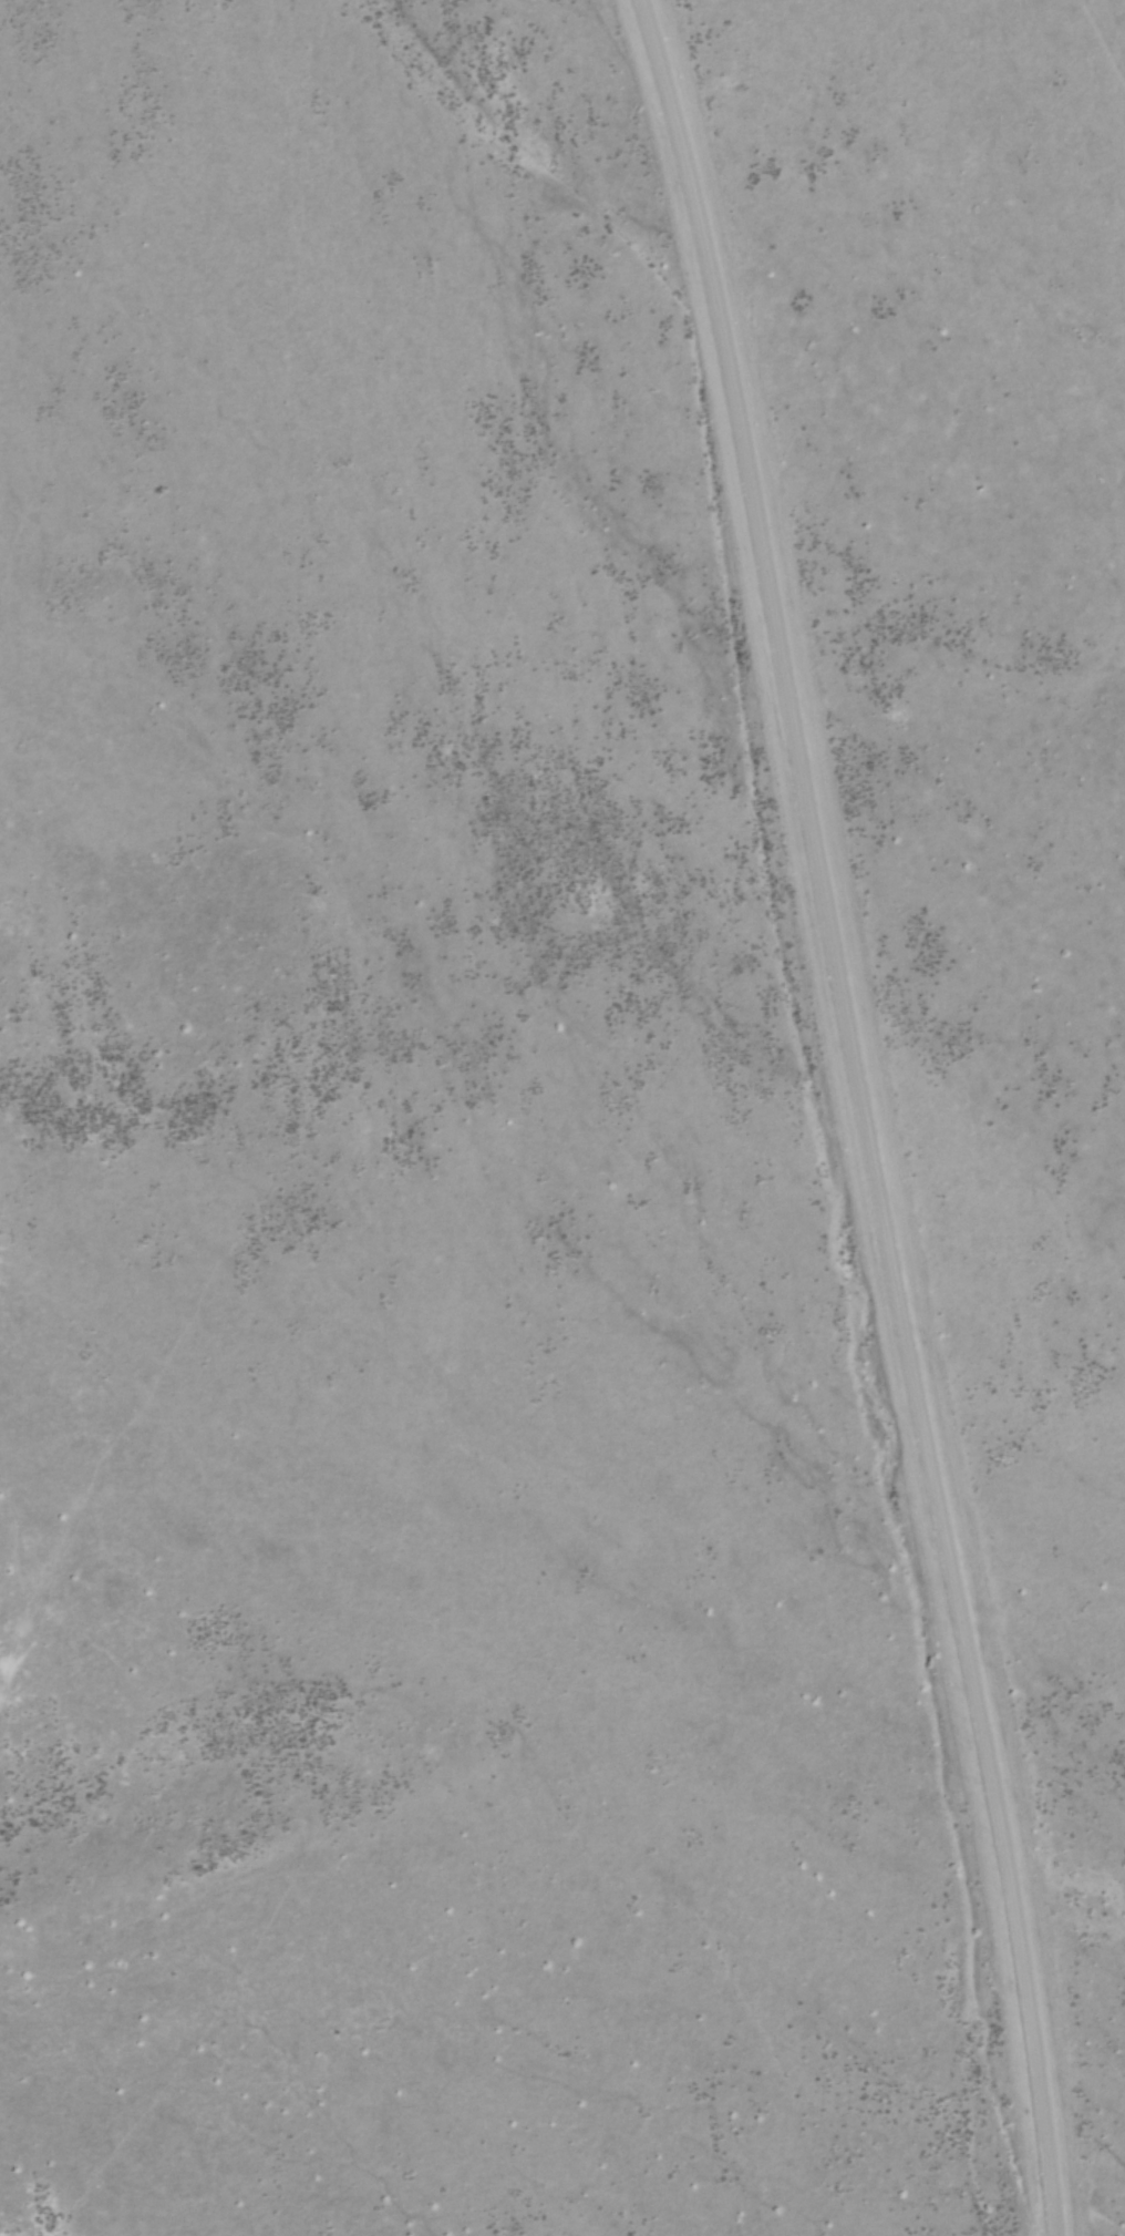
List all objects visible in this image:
road: (867, 1115)

